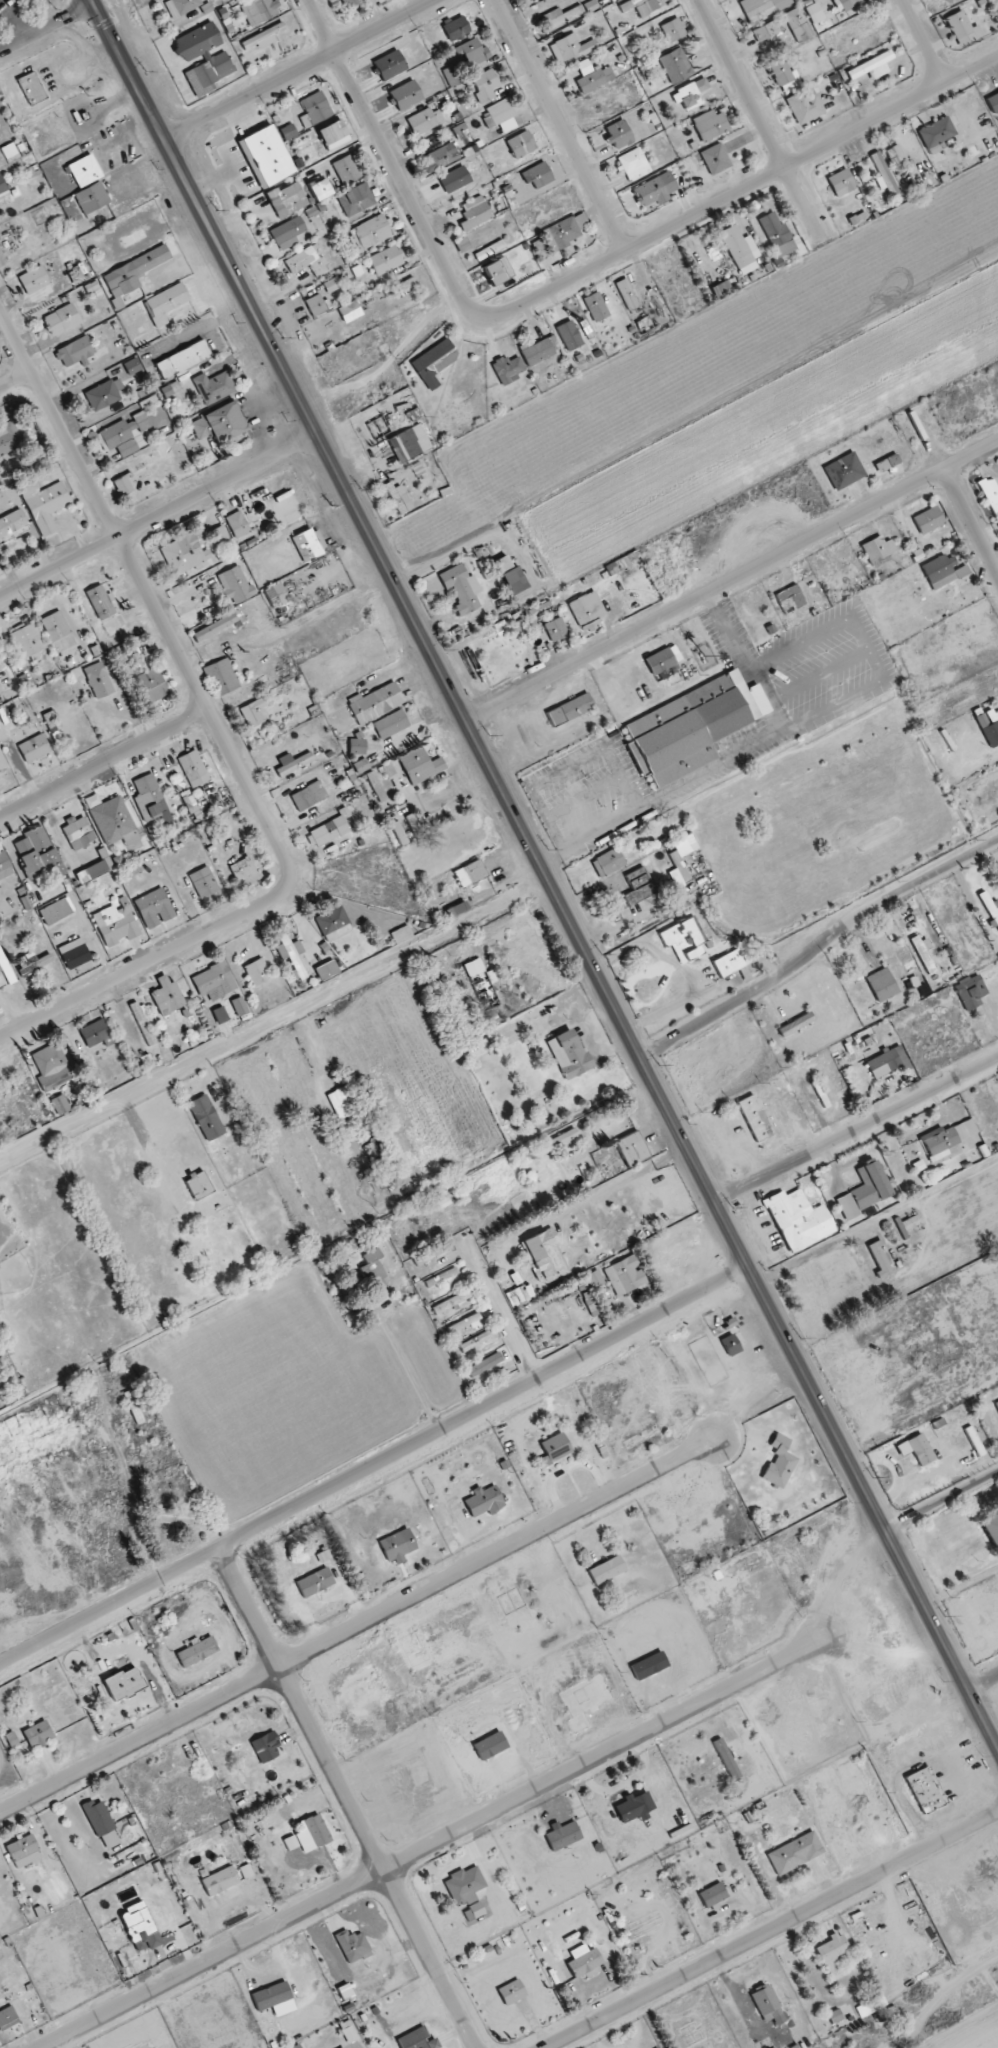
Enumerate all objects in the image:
building: (349, 3)
building: (847, 4)
traffic signals: (96, 6)
building: (590, 6)
building: (627, 6)
building: (180, 7)
building: (258, 11)
building: (641, 11)
building: (759, 12)
building: (814, 12)
building: (562, 16)
building: (798, 25)
building: (456, 28)
road: (48, 29)
building: (673, 29)
building: (963, 29)
building: (766, 30)
building: (263, 37)
road: (923, 41)
building: (573, 46)
building: (473, 53)
building: (216, 58)
building: (390, 65)
building: (676, 65)
building: (871, 67)
road: (301, 68)
building: (592, 76)
building: (784, 76)
building: (450, 77)
building: (485, 85)
building: (31, 89)
building: (690, 94)
building: (406, 95)
building: (993, 102)
building: (805, 105)
building: (315, 109)
building: (500, 116)
building: (422, 121)
road: (761, 121)
road: (561, 125)
building: (709, 125)
building: (461, 131)
building: (936, 132)
building: (333, 134)
building: (618, 135)
building: (521, 144)
building: (9, 150)
building: (267, 155)
building: (440, 157)
building: (715, 159)
road: (393, 161)
building: (634, 164)
building: (347, 169)
building: (84, 170)
building: (882, 173)
building: (538, 176)
building: (454, 179)
building: (841, 183)
building: (319, 189)
building: (655, 190)
road: (741, 192)
building: (4, 193)
building: (92, 197)
building: (287, 199)
building: (356, 200)
building: (474, 213)
building: (566, 231)
building: (370, 232)
building: (287, 233)
building: (777, 233)
building: (462, 245)
building: (540, 248)
building: (740, 249)
building: (385, 260)
building: (307, 261)
building: (134, 271)
building: (498, 271)
building: (34, 280)
building: (332, 284)
building: (627, 294)
building: (166, 303)
building: (315, 305)
building: (596, 306)
building: (350, 311)
building: (62, 320)
building: (569, 335)
building: (76, 351)
building: (536, 351)
building: (183, 359)
building: (434, 362)
building: (132, 366)
road: (17, 384)
building: (214, 387)
building: (171, 389)
building: (104, 394)
building: (139, 422)
building: (219, 423)
building: (9, 439)
building: (119, 439)
building: (409, 443)
building: (844, 471)
building: (123, 486)
road: (957, 490)
building: (990, 493)
building: (401, 500)
building: (44, 504)
road: (160, 517)
building: (928, 520)
building: (12, 522)
building: (237, 524)
building: (307, 545)
building: (190, 549)
building: (878, 551)
building: (943, 571)
building: (510, 575)
road: (732, 581)
building: (235, 584)
building: (462, 588)
building: (276, 595)
building: (790, 599)
building: (101, 602)
building: (587, 610)
building: (55, 626)
building: (215, 627)
building: (556, 629)
building: (27, 640)
building: (0, 655)
building: (660, 661)
road: (743, 661)
building: (222, 677)
building: (98, 680)
building: (152, 685)
building: (376, 702)
building: (570, 709)
building: (253, 712)
building: (50, 719)
building: (982, 721)
building: (391, 724)
building: (691, 727)
road: (222, 738)
building: (34, 748)
building: (2, 762)
building: (294, 764)
building: (361, 765)
building: (420, 765)
road: (104, 767)
building: (193, 768)
building: (376, 787)
building: (309, 796)
building: (149, 797)
building: (194, 810)
building: (114, 821)
building: (413, 824)
building: (329, 831)
building: (78, 832)
building: (38, 854)
building: (608, 862)
building: (678, 862)
building: (5, 866)
building: (243, 869)
building: (94, 870)
building: (470, 873)
road: (544, 873)
building: (203, 882)
building: (639, 886)
building: (990, 907)
building: (154, 908)
building: (456, 909)
building: (56, 911)
building: (116, 923)
building: (333, 923)
building: (401, 934)
building: (684, 939)
road: (818, 946)
building: (923, 952)
building: (293, 953)
building: (74, 954)
building: (33, 963)
building: (728, 963)
building: (5, 967)
building: (474, 967)
building: (327, 970)
building: (258, 971)
building: (214, 979)
building: (882, 985)
building: (970, 991)
building: (167, 996)
building: (239, 1006)
building: (220, 1015)
road: (274, 1020)
building: (143, 1023)
building: (796, 1024)
building: (95, 1033)
building: (569, 1054)
building: (887, 1062)
building: (52, 1067)
building: (344, 1104)
building: (60, 1105)
building: (206, 1117)
building: (755, 1118)
road: (856, 1130)
building: (947, 1138)
building: (556, 1142)
building: (632, 1148)
building: (199, 1185)
building: (864, 1191)
building: (798, 1219)
building: (430, 1254)
building: (545, 1256)
building: (879, 1259)
building: (373, 1268)
building: (625, 1275)
building: (441, 1277)
building: (451, 1302)
building: (593, 1308)
building: (464, 1324)
building: (475, 1341)
building: (731, 1345)
building: (484, 1364)
road: (398, 1369)
building: (996, 1403)
building: (132, 1405)
building: (555, 1448)
building: (979, 1448)
building: (920, 1449)
building: (780, 1462)
road: (374, 1463)
road: (941, 1500)
building: (483, 1501)
building: (163, 1517)
building: (991, 1528)
building: (393, 1547)
building: (607, 1570)
building: (315, 1582)
road: (358, 1621)
building: (197, 1652)
road: (982, 1678)
building: (124, 1683)
building: (38, 1735)
building: (12, 1739)
building: (490, 1745)
building: (266, 1747)
building: (726, 1759)
building: (926, 1790)
building: (101, 1824)
building: (312, 1833)
road: (369, 1835)
building: (563, 1836)
road: (426, 1840)
building: (290, 1843)
building: (24, 1851)
building: (795, 1853)
building: (220, 1881)
building: (464, 1885)
building: (713, 1895)
building: (140, 1927)
road: (773, 1929)
building: (353, 1946)
building: (832, 1956)
building: (584, 1961)
building: (345, 1992)
building: (512, 1992)
building: (274, 1999)
building: (766, 2001)
building: (875, 2003)
building: (835, 2016)
building: (8, 2018)
building: (349, 2032)
building: (417, 2039)
building: (297, 2046)
building: (343, 2047)

